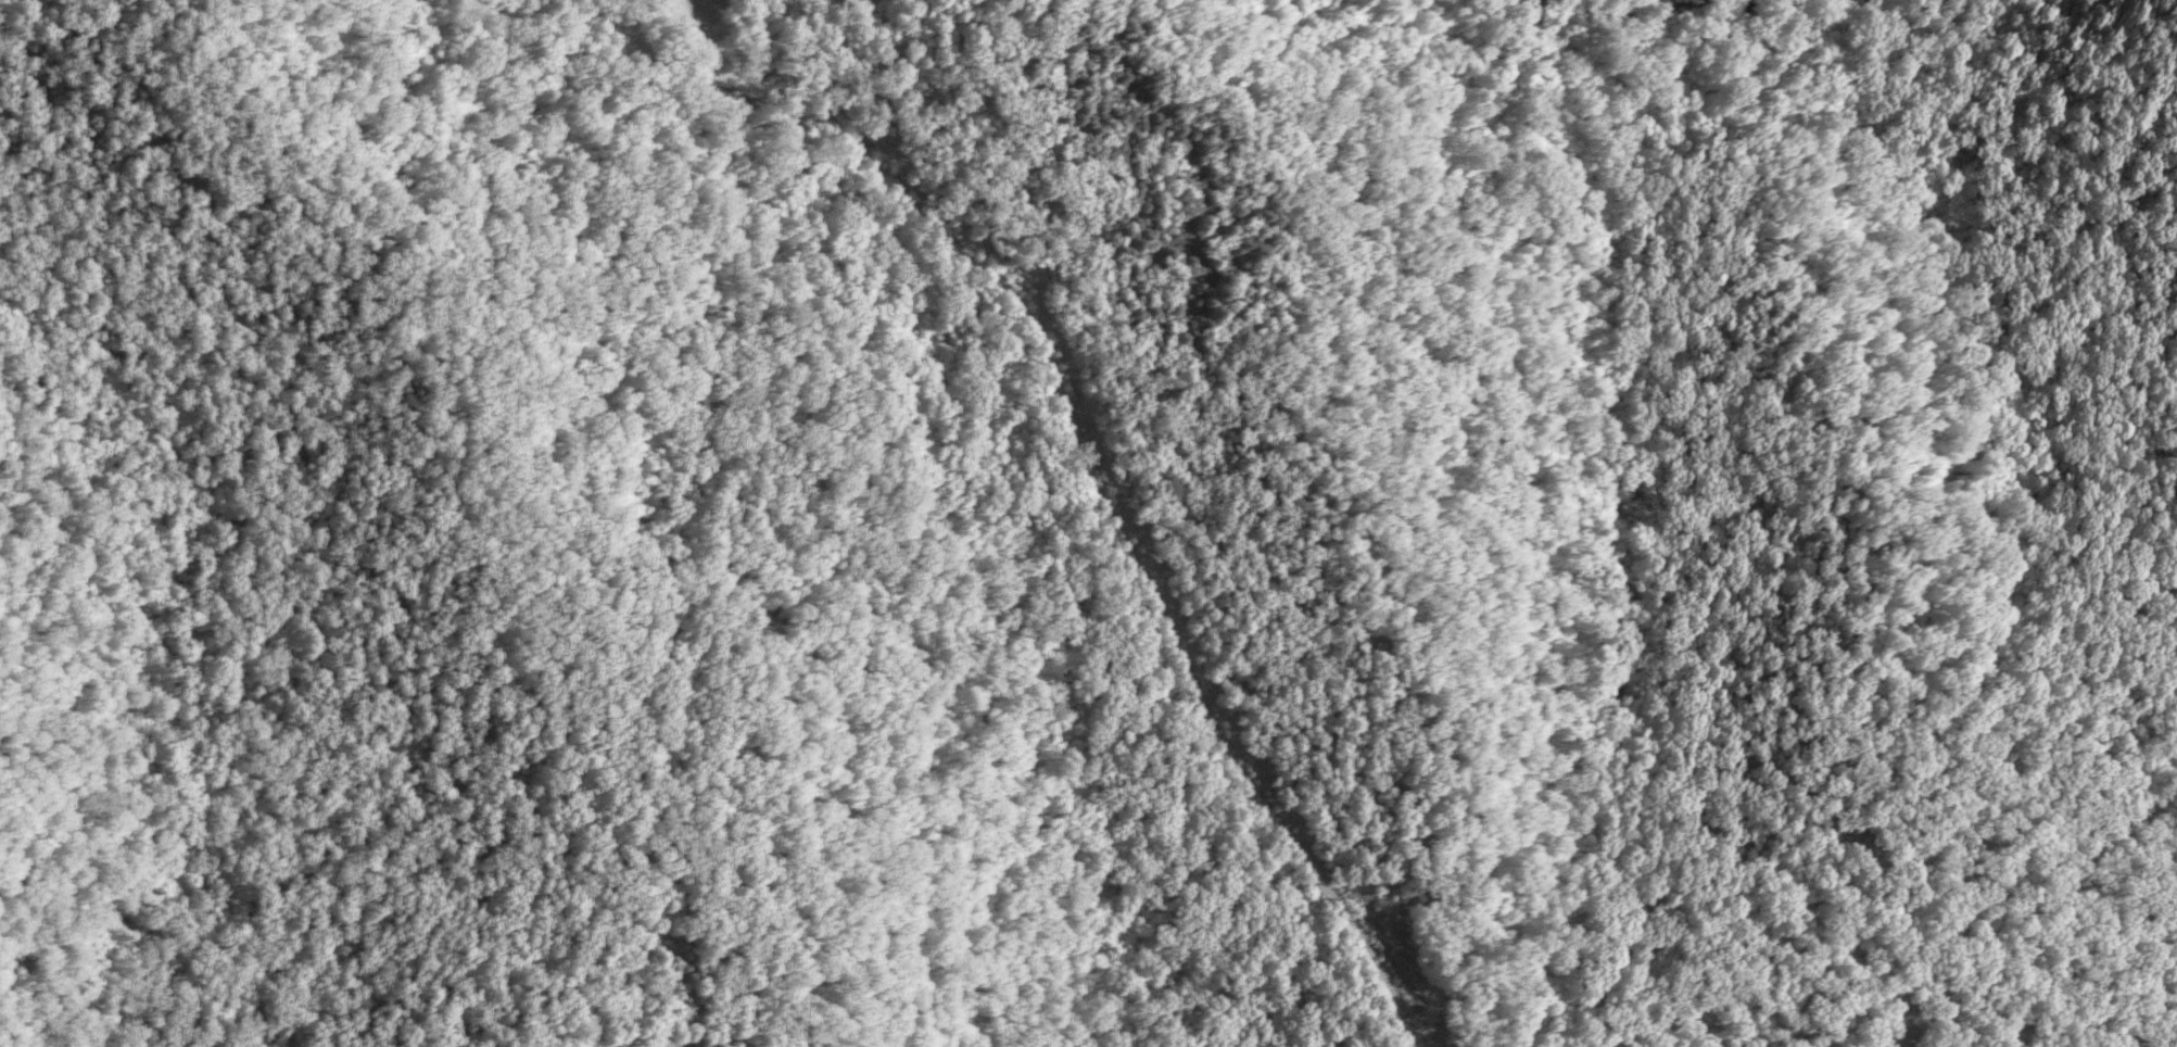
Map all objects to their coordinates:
road: (1113, 465)

